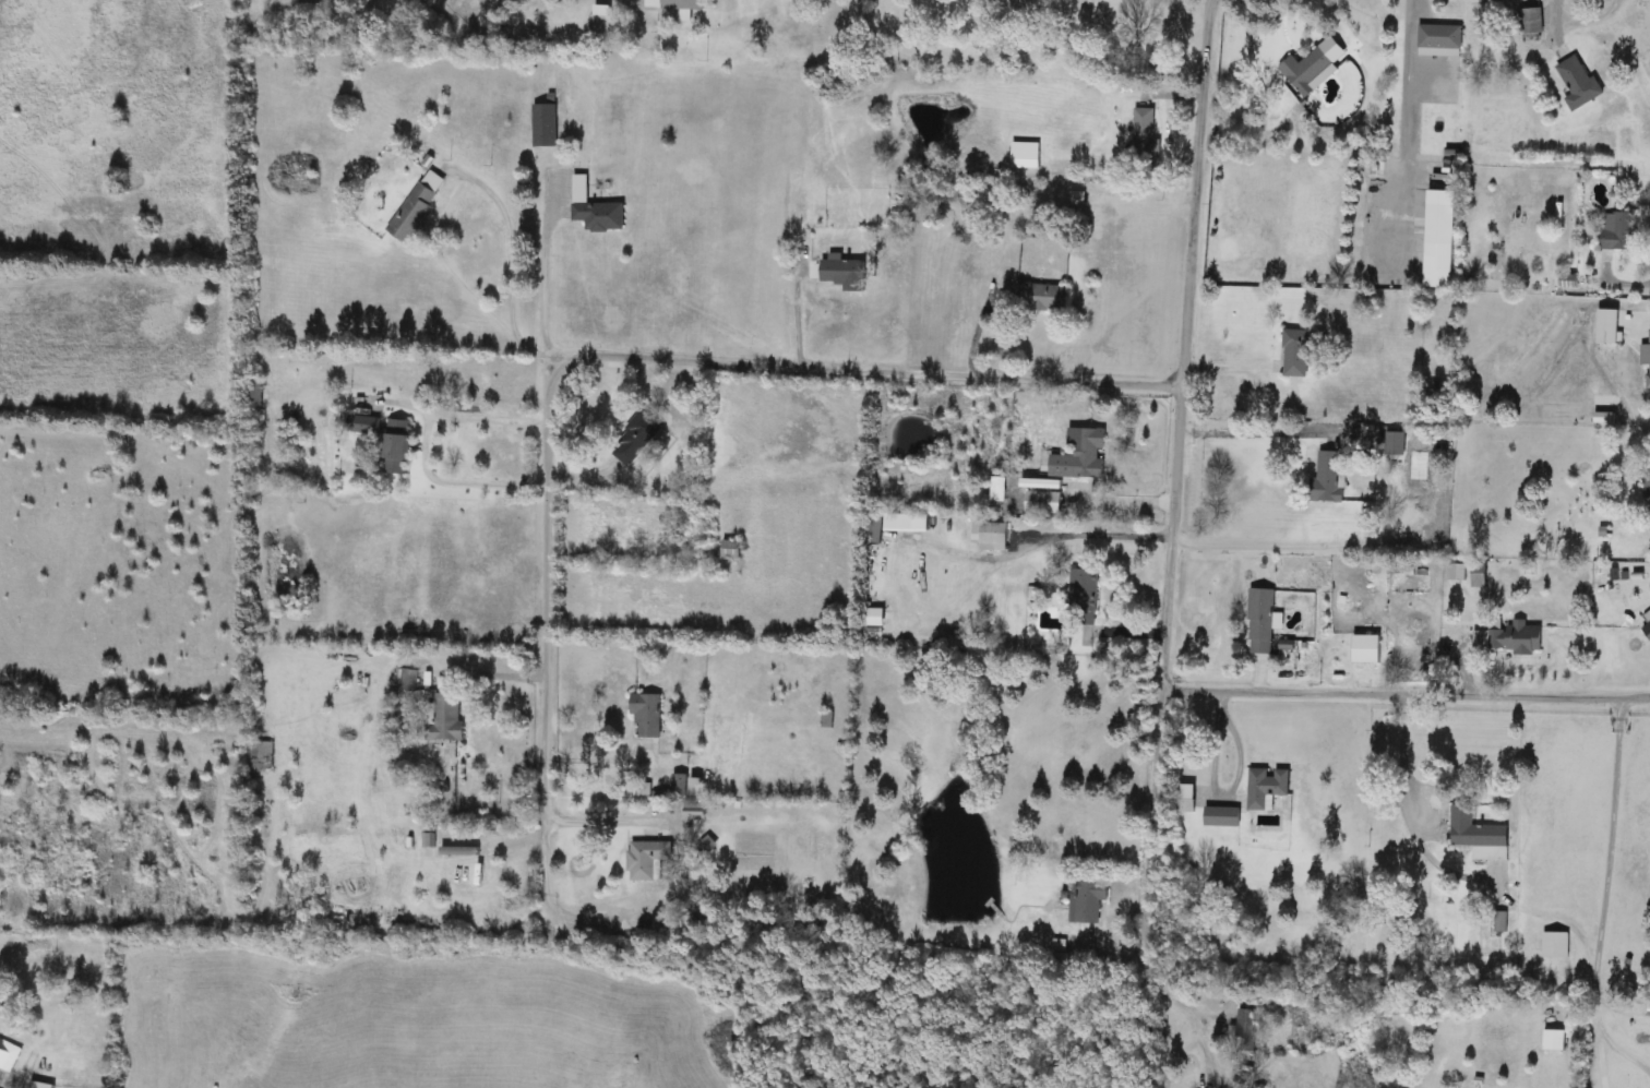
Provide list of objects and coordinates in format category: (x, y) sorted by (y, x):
building: (672, 4)
building: (1109, 13)
building: (600, 24)
building: (1529, 24)
building: (1438, 38)
building: (1307, 67)
building: (546, 76)
building: (1577, 84)
building: (543, 127)
building: (1144, 141)
road: (444, 200)
building: (416, 207)
building: (594, 210)
building: (1616, 231)
building: (1438, 240)
road: (543, 264)
building: (840, 273)
building: (1040, 298)
road: (555, 354)
building: (1295, 354)
road: (593, 355)
building: (1646, 358)
road: (1244, 425)
building: (363, 426)
building: (635, 439)
building: (1394, 444)
building: (396, 447)
road: (425, 447)
building: (1079, 455)
building: (1326, 478)
building: (996, 490)
building: (1649, 495)
building: (1042, 503)
building: (893, 526)
building: (989, 536)
road: (1050, 538)
road: (1170, 543)
building: (729, 550)
building: (1478, 575)
building: (1081, 598)
building: (874, 618)
building: (1259, 622)
building: (1646, 630)
building: (1514, 639)
building: (1364, 650)
building: (402, 681)
road: (1407, 693)
building: (645, 715)
building: (444, 720)
road: (1401, 752)
building: (263, 757)
building: (685, 786)
building: (1265, 788)
building: (1183, 799)
building: (693, 808)
building: (1220, 817)
road: (612, 822)
building: (1473, 830)
building: (707, 844)
building: (645, 859)
road: (1606, 890)
building: (1087, 900)
building: (651, 923)
building: (1554, 946)
building: (1244, 1036)
building: (1553, 1040)
road: (1406, 1078)
building: (37, 1086)

